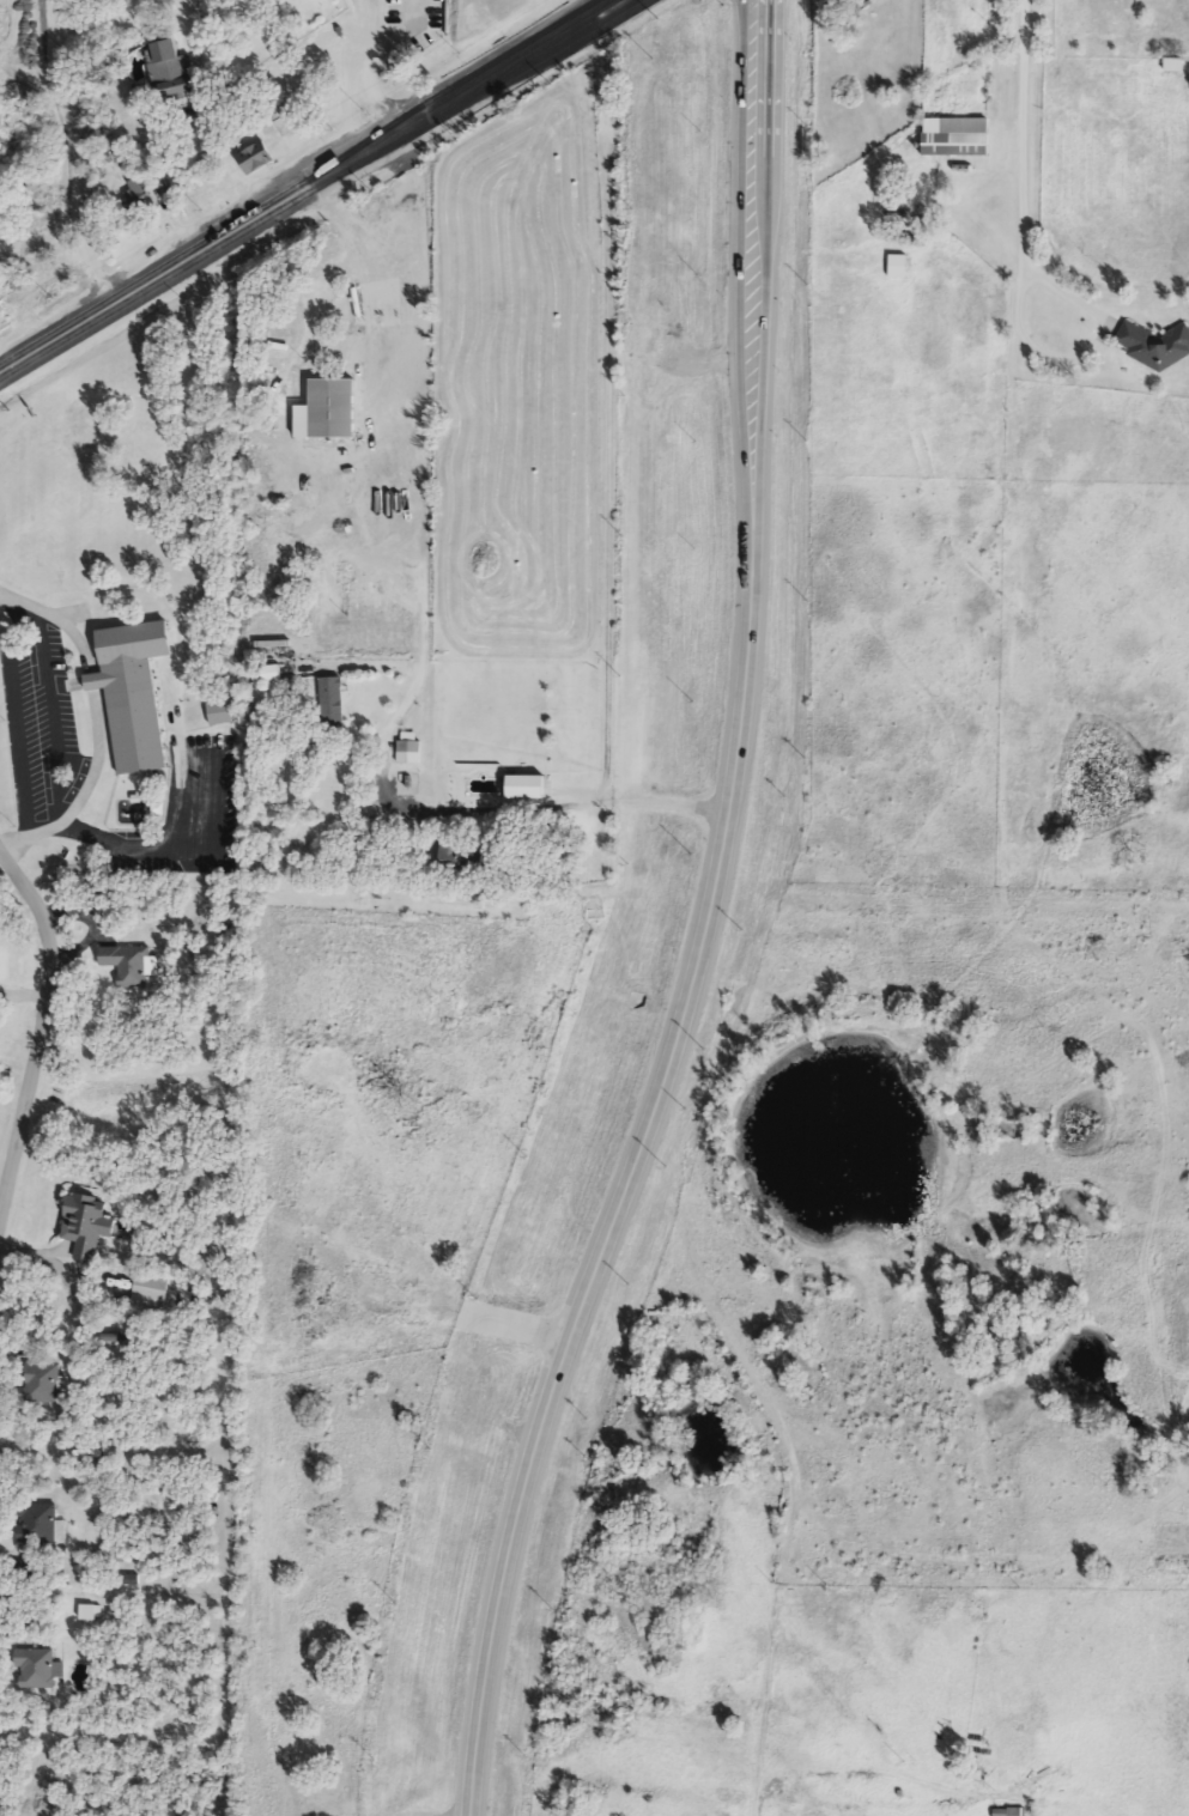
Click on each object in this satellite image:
building: (159, 2)
building: (788, 6)
building: (946, 6)
road: (753, 17)
building: (741, 26)
road: (363, 60)
building: (1173, 66)
building: (172, 71)
building: (279, 74)
road: (344, 101)
building: (790, 103)
road: (174, 116)
building: (308, 116)
road: (1026, 127)
building: (957, 139)
road: (63, 159)
building: (259, 159)
road: (313, 188)
building: (140, 196)
road: (353, 227)
building: (899, 268)
building: (2, 298)
building: (665, 328)
building: (1155, 347)
building: (636, 352)
road: (1087, 356)
building: (330, 412)
road: (751, 444)
road: (413, 454)
building: (685, 532)
road: (60, 620)
road: (92, 685)
building: (134, 694)
building: (333, 707)
building: (220, 713)
building: (410, 754)
building: (528, 789)
road: (84, 795)
road: (486, 813)
road: (175, 848)
building: (456, 857)
building: (131, 966)
road: (40, 1033)
building: (86, 1226)
building: (151, 1289)
road: (570, 1344)
building: (46, 1384)
building: (40, 1525)
building: (36, 1669)
building: (1011, 1812)

